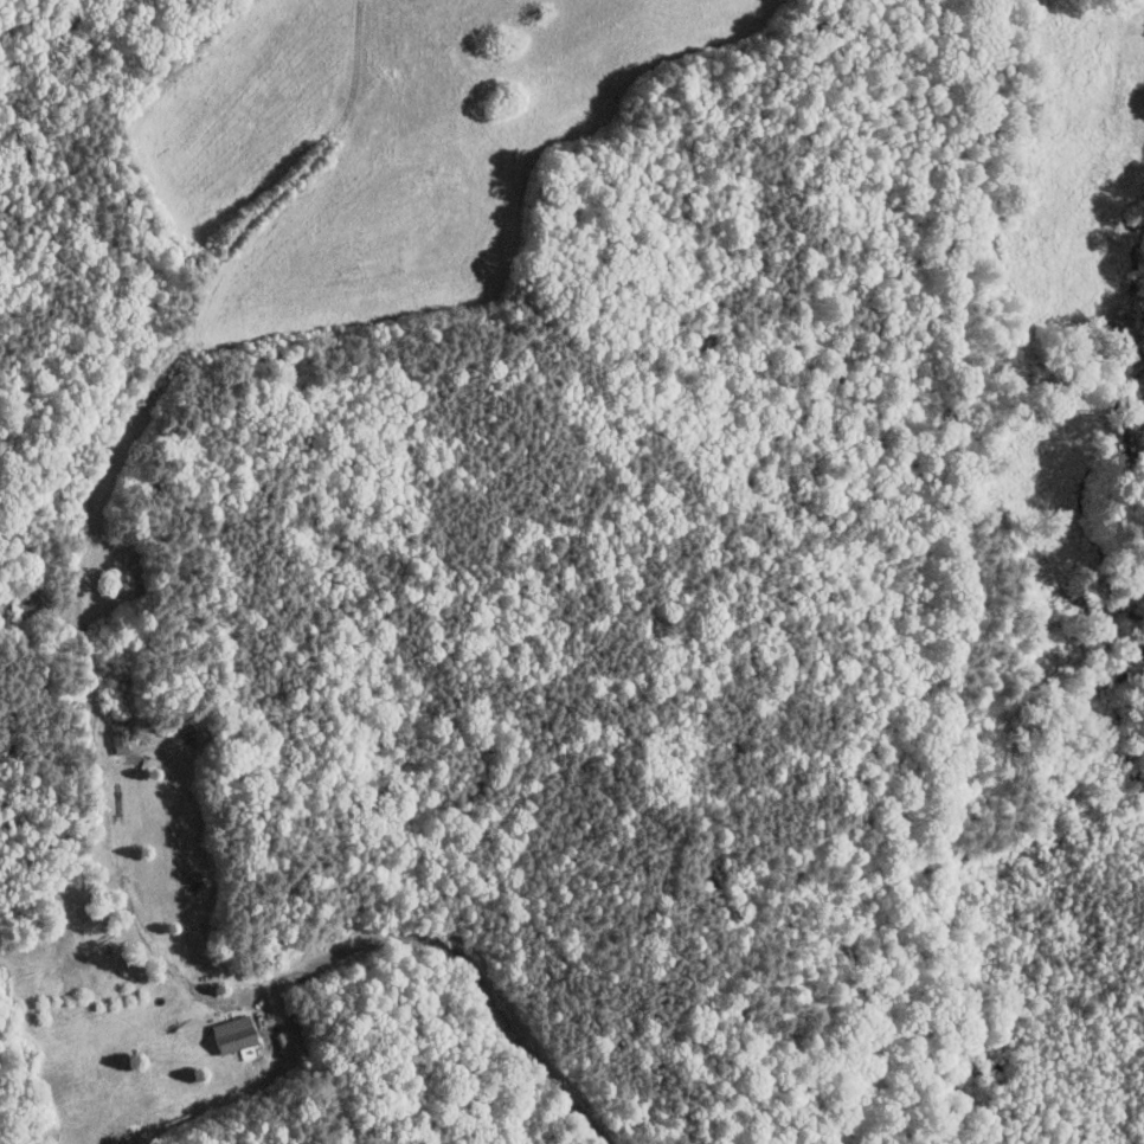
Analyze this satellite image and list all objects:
road: (459, 956)
building: (229, 1034)

